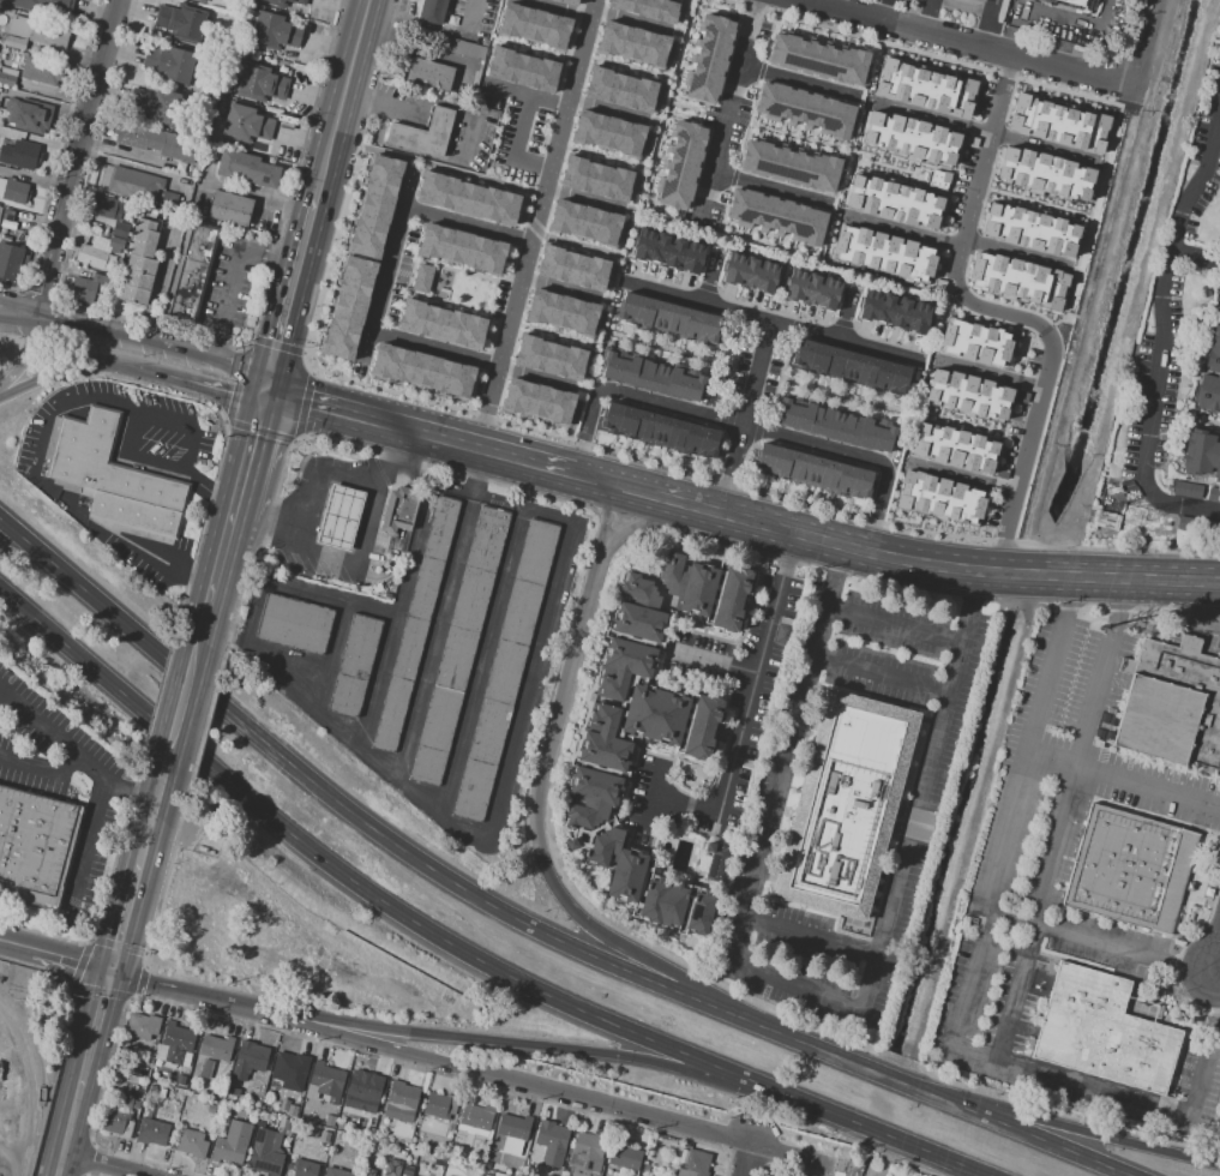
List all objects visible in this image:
building: (203, 0)
building: (979, 0)
building: (567, 1)
building: (282, 2)
building: (1072, 2)
building: (43, 5)
road: (968, 6)
road: (554, 8)
building: (647, 8)
road: (882, 8)
building: (431, 10)
road: (927, 13)
road: (1074, 18)
road: (632, 20)
road: (987, 22)
building: (181, 23)
building: (534, 25)
road: (433, 26)
road: (1017, 28)
building: (274, 31)
building: (32, 34)
road: (511, 42)
road: (980, 42)
road: (1150, 42)
building: (632, 44)
road: (882, 44)
building: (462, 48)
road: (428, 53)
building: (709, 58)
building: (818, 58)
building: (176, 65)
road: (620, 65)
building: (522, 68)
building: (41, 71)
building: (428, 73)
building: (7, 80)
road: (799, 80)
building: (259, 83)
building: (924, 88)
building: (620, 89)
parking lot: (396, 90)
road: (522, 92)
road: (344, 95)
road: (680, 96)
road: (429, 100)
parking lot: (488, 100)
building: (157, 104)
road: (609, 109)
building: (804, 109)
road: (708, 110)
road: (727, 112)
road: (750, 114)
road: (675, 115)
building: (32, 120)
building: (1057, 121)
building: (246, 125)
parking lot: (536, 130)
parking lot: (505, 131)
road: (984, 131)
building: (422, 133)
building: (608, 133)
road: (659, 133)
road: (791, 134)
parking lot: (452, 138)
building: (909, 138)
building: (152, 140)
parking lot: (483, 140)
road: (962, 142)
road: (516, 144)
road: (402, 149)
road: (125, 150)
building: (4, 152)
road: (77, 154)
building: (24, 155)
road: (597, 155)
building: (680, 163)
road: (431, 164)
building: (789, 164)
road: (890, 166)
road: (934, 166)
building: (247, 168)
road: (1212, 170)
building: (1044, 172)
building: (11, 173)
parking lot: (516, 174)
building: (595, 178)
building: (938, 179)
building: (134, 184)
road: (771, 187)
road: (932, 188)
building: (13, 191)
building: (168, 198)
building: (467, 198)
road: (587, 199)
road: (1032, 200)
building: (893, 202)
building: (375, 206)
building: (104, 208)
building: (230, 208)
road: (1088, 212)
building: (775, 216)
road: (978, 216)
building: (8, 220)
road: (465, 222)
building: (584, 222)
road: (534, 223)
building: (1029, 227)
building: (120, 229)
road: (901, 229)
road: (512, 233)
road: (621, 235)
road: (757, 240)
road: (566, 241)
building: (115, 245)
building: (462, 248)
building: (94, 251)
building: (671, 252)
building: (883, 252)
road: (1015, 253)
road: (1194, 256)
building: (10, 260)
road: (386, 260)
building: (139, 264)
building: (572, 268)
parking lot: (401, 271)
building: (193, 274)
road: (235, 274)
road: (410, 275)
building: (751, 275)
building: (421, 277)
building: (1017, 280)
road: (705, 287)
road: (563, 288)
road: (294, 289)
building: (84, 290)
park: (468, 290)
building: (813, 290)
road: (949, 294)
road: (945, 295)
parking lot: (497, 298)
road: (18, 302)
building: (348, 307)
road: (773, 311)
building: (895, 311)
building: (561, 312)
road: (18, 313)
road: (1004, 313)
building: (668, 319)
road: (770, 320)
road: (1198, 320)
building: (441, 323)
road: (842, 324)
road: (792, 326)
road: (767, 330)
road: (551, 332)
road: (1162, 335)
road: (157, 340)
building: (974, 342)
road: (656, 346)
road: (433, 347)
road: (28, 352)
road: (1191, 354)
building: (549, 356)
road: (82, 361)
parking lot: (356, 368)
building: (422, 370)
building: (852, 371)
road: (987, 373)
building: (1210, 373)
building: (653, 377)
road: (539, 378)
road: (218, 388)
traffic signals: (270, 390)
building: (967, 392)
road: (837, 394)
road: (1012, 396)
building: (537, 401)
road: (70, 407)
road: (744, 416)
road: (961, 421)
road: (743, 425)
building: (837, 428)
road: (1184, 430)
road: (422, 431)
building: (660, 434)
building: (954, 446)
road: (252, 452)
building: (1201, 454)
road: (127, 455)
road: (417, 460)
building: (106, 461)
road: (1210, 466)
building: (813, 474)
road: (960, 475)
road: (595, 479)
road: (317, 482)
road: (1195, 482)
road: (211, 486)
building: (1186, 490)
building: (1213, 494)
building: (938, 498)
road: (667, 499)
building: (398, 509)
building: (132, 514)
power tower: (1087, 515)
power tower: (1130, 517)
building: (339, 518)
gas station: (339, 518)
building: (1105, 520)
road: (644, 521)
building: (1198, 528)
road: (167, 554)
road: (361, 558)
road: (391, 570)
road: (966, 571)
road: (719, 576)
road: (220, 580)
road: (83, 584)
road: (657, 587)
road: (441, 616)
road: (674, 623)
building: (295, 625)
building: (415, 626)
road: (896, 628)
road: (637, 640)
building: (459, 646)
road: (74, 654)
road: (331, 660)
road: (710, 660)
road: (481, 664)
building: (355, 666)
building: (505, 671)
road: (755, 672)
road: (193, 676)
road: (881, 680)
road: (378, 684)
road: (623, 701)
road: (607, 702)
building: (1171, 704)
road: (184, 710)
building: (647, 722)
road: (175, 737)
road: (680, 739)
road: (725, 742)
road: (673, 755)
road: (73, 757)
building: (749, 762)
road: (602, 769)
road: (41, 770)
road: (1124, 781)
road: (650, 792)
road: (413, 796)
road: (536, 797)
road: (684, 804)
building: (845, 805)
road: (686, 810)
road: (155, 817)
road: (1060, 821)
road: (605, 823)
road: (648, 830)
road: (577, 840)
building: (35, 846)
building: (710, 847)
road: (91, 848)
building: (1129, 870)
road: (701, 872)
road: (642, 880)
road: (464, 882)
road: (128, 913)
road: (284, 929)
road: (222, 935)
road: (811, 941)
road: (1102, 942)
road: (14, 944)
road: (71, 960)
road: (1219, 970)
traffic signals: (114, 972)
road: (1219, 972)
road: (1219, 977)
road: (968, 983)
road: (539, 985)
road: (813, 990)
road: (224, 1001)
building: (142, 1026)
road: (98, 1027)
building: (1099, 1033)
building: (173, 1043)
building: (216, 1048)
road: (537, 1052)
building: (248, 1060)
building: (292, 1066)
building: (206, 1069)
building: (180, 1080)
building: (276, 1080)
building: (327, 1080)
building: (287, 1082)
railway: (29, 1086)
road: (543, 1086)
building: (233, 1091)
building: (365, 1092)
road: (937, 1094)
building: (127, 1100)
railway: (16, 1102)
building: (401, 1102)
building: (439, 1105)
building: (211, 1109)
building: (292, 1110)
building: (476, 1115)
building: (264, 1117)
building: (116, 1122)
building: (283, 1123)
building: (341, 1126)
building: (515, 1126)
road: (71, 1129)
building: (151, 1132)
building: (312, 1133)
building: (343, 1136)
building: (325, 1139)
road: (1099, 1139)
building: (552, 1141)
building: (192, 1142)
building: (233, 1144)
building: (494, 1144)
building: (266, 1152)
building: (402, 1154)
building: (587, 1154)
road: (794, 1154)
building: (625, 1156)
road: (746, 1159)
building: (439, 1162)
road: (942, 1162)
road: (954, 1162)
road: (106, 1164)
building: (695, 1164)
building: (301, 1168)
building: (447, 1171)
building: (336, 1172)
building: (367, 1175)
building: (399, 1175)
building: (407, 1175)
building: (549, 1175)
building: (775, 1175)
building: (780, 1175)

